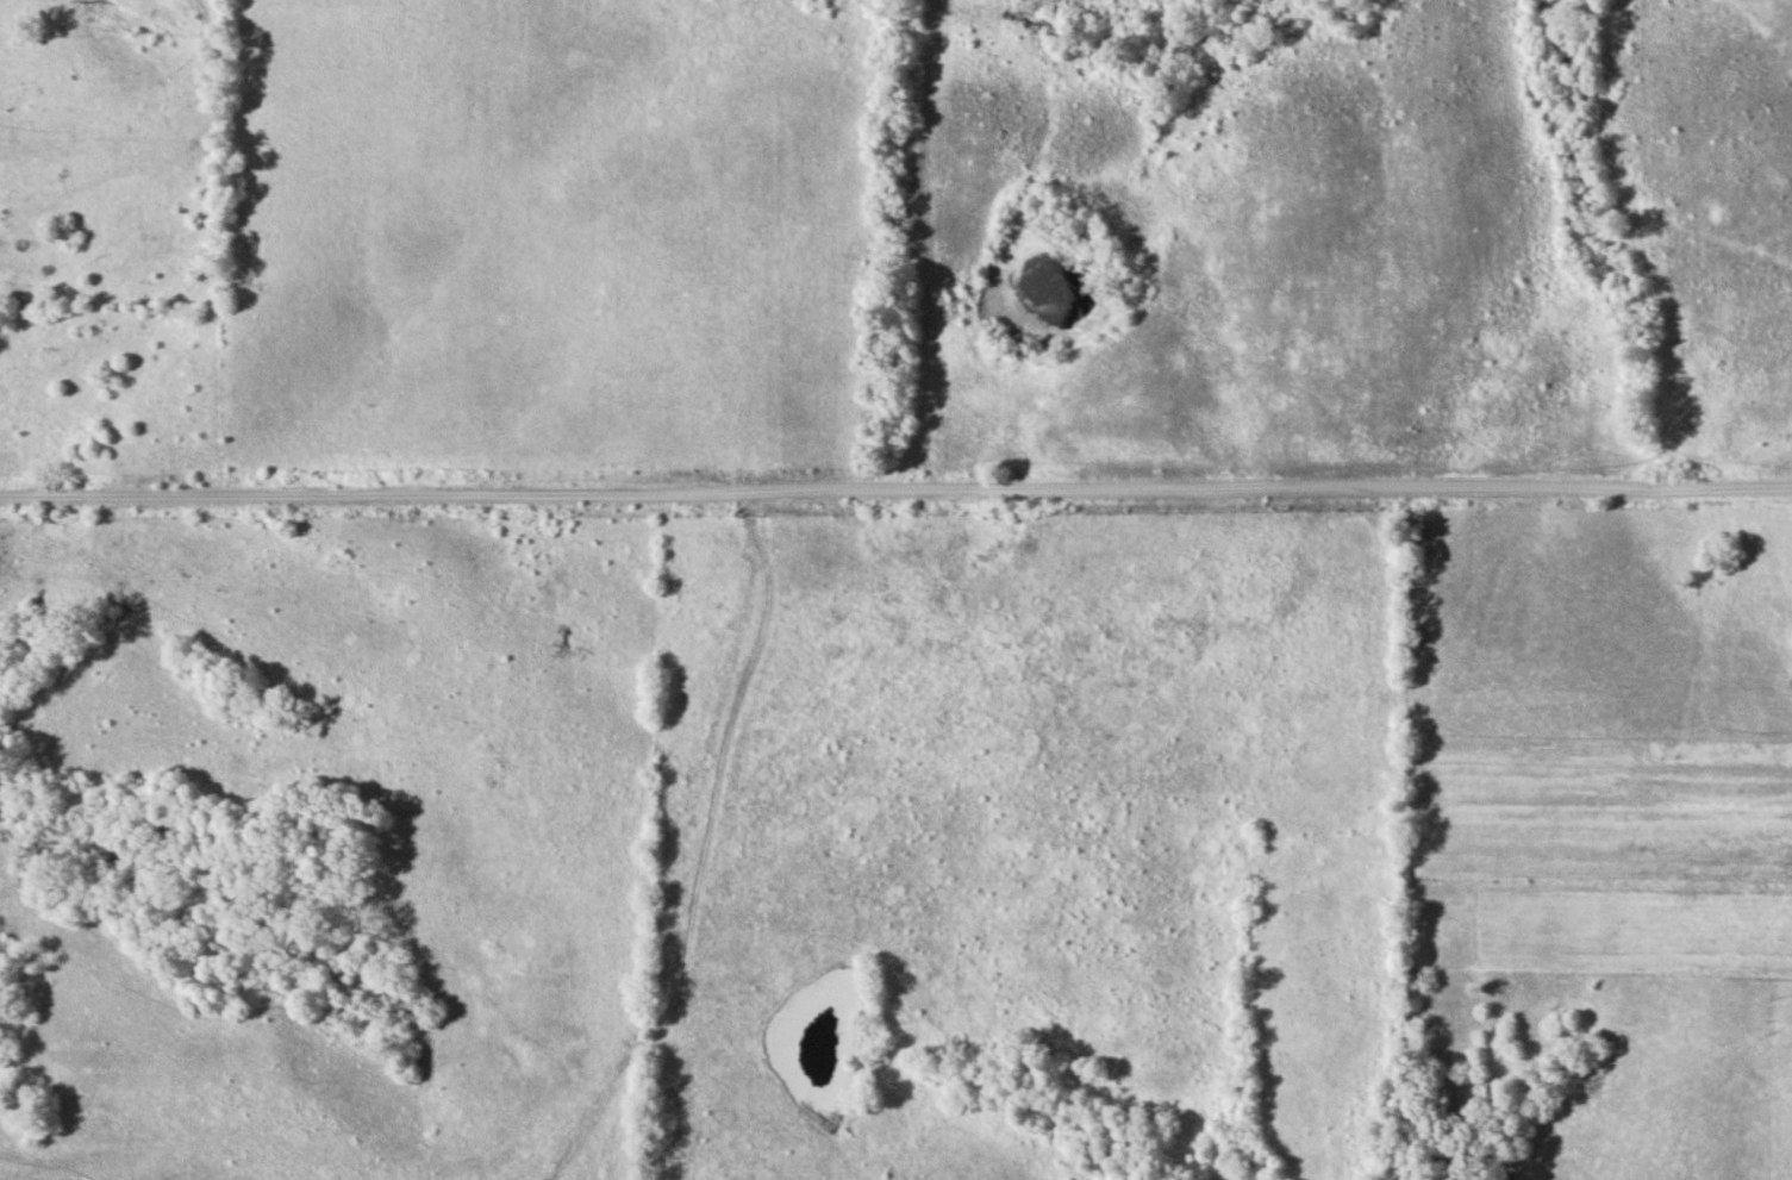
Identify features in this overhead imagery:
road: (895, 492)

